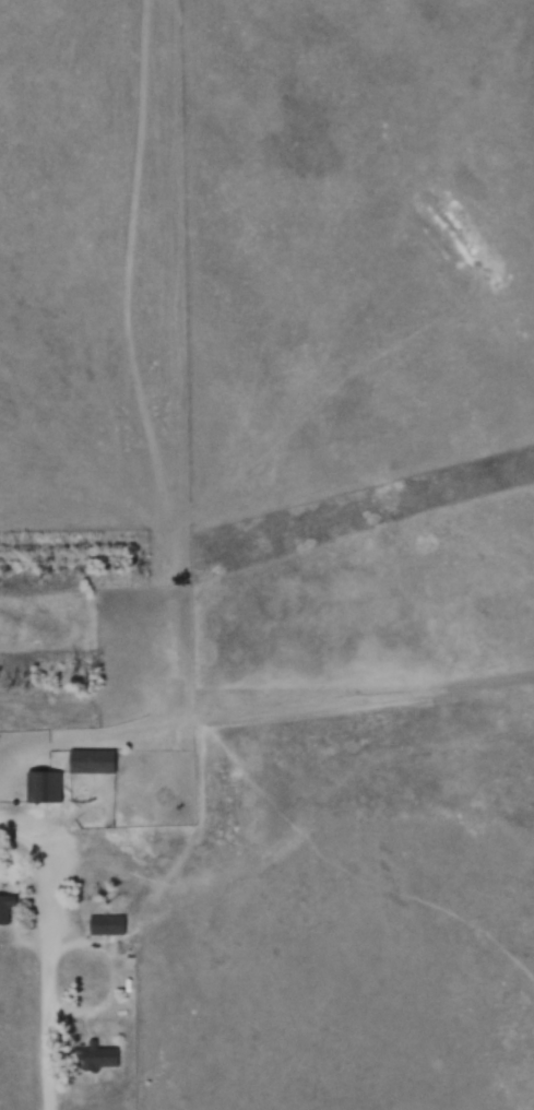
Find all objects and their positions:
building: (93, 761)
building: (45, 787)
building: (7, 908)
building: (99, 924)
building: (100, 1054)
road: (48, 1078)

